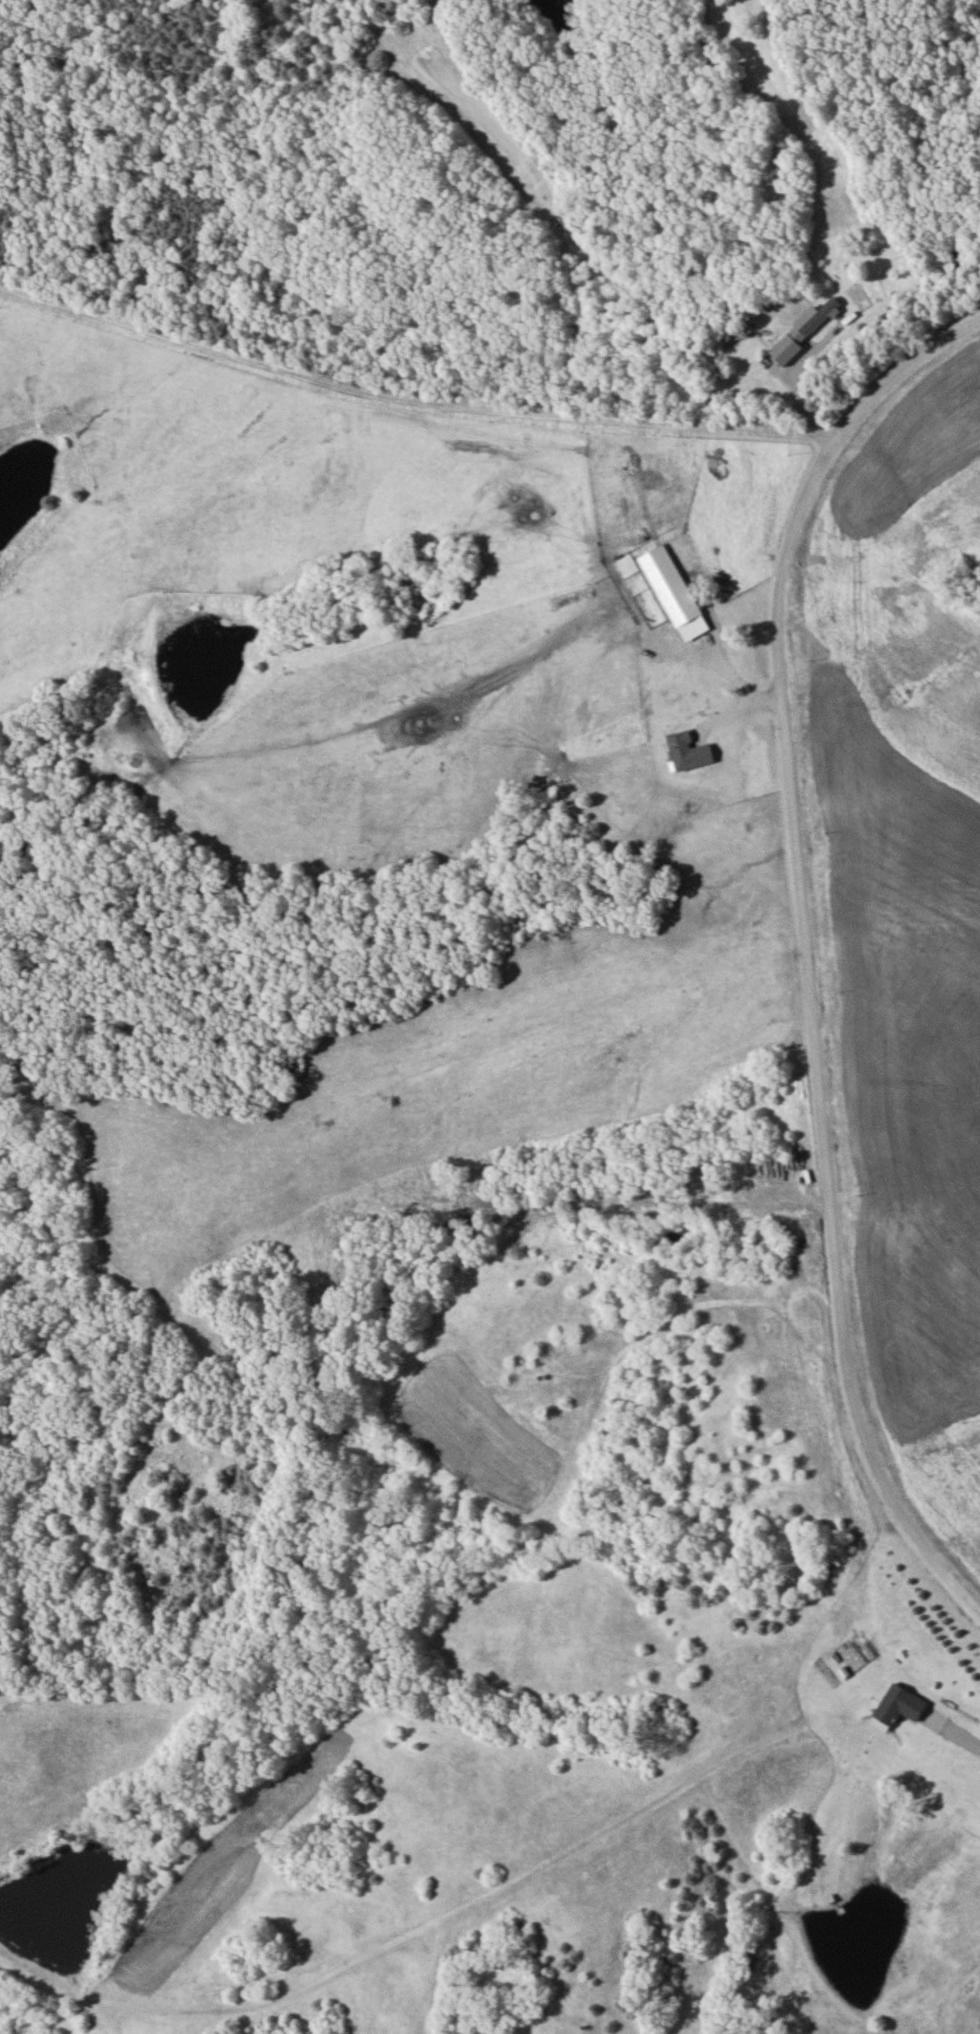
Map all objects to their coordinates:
building: (781, 348)
building: (671, 586)
building: (689, 753)
road: (807, 943)
building: (960, 1710)

